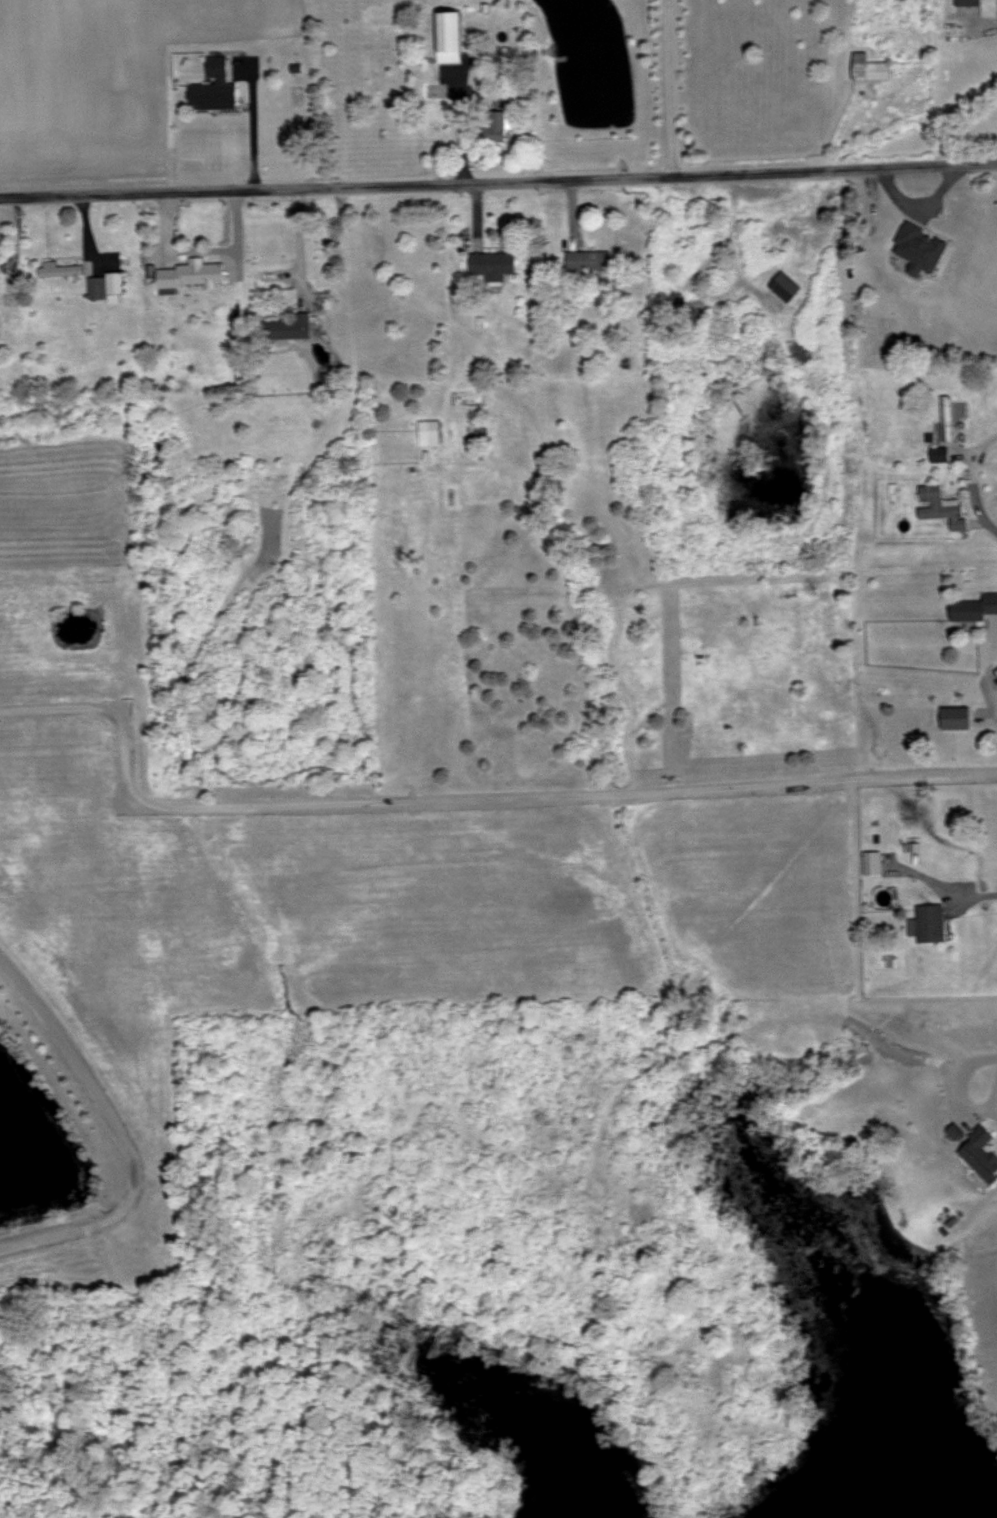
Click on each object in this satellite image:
building: (970, 3)
building: (448, 38)
building: (869, 70)
road: (665, 87)
building: (213, 89)
road: (249, 120)
building: (495, 127)
road: (456, 129)
road: (498, 179)
road: (730, 224)
building: (953, 226)
road: (13, 231)
building: (588, 261)
building: (492, 264)
building: (58, 271)
building: (191, 275)
road: (266, 276)
building: (784, 286)
building: (106, 287)
building: (682, 310)
building: (288, 327)
building: (946, 423)
building: (429, 433)
building: (940, 507)
building: (974, 609)
road: (989, 677)
building: (955, 719)
road: (462, 803)
building: (872, 864)
road: (949, 893)
building: (930, 925)
road: (955, 1083)
road: (992, 1099)
road: (118, 1134)
building: (980, 1154)

